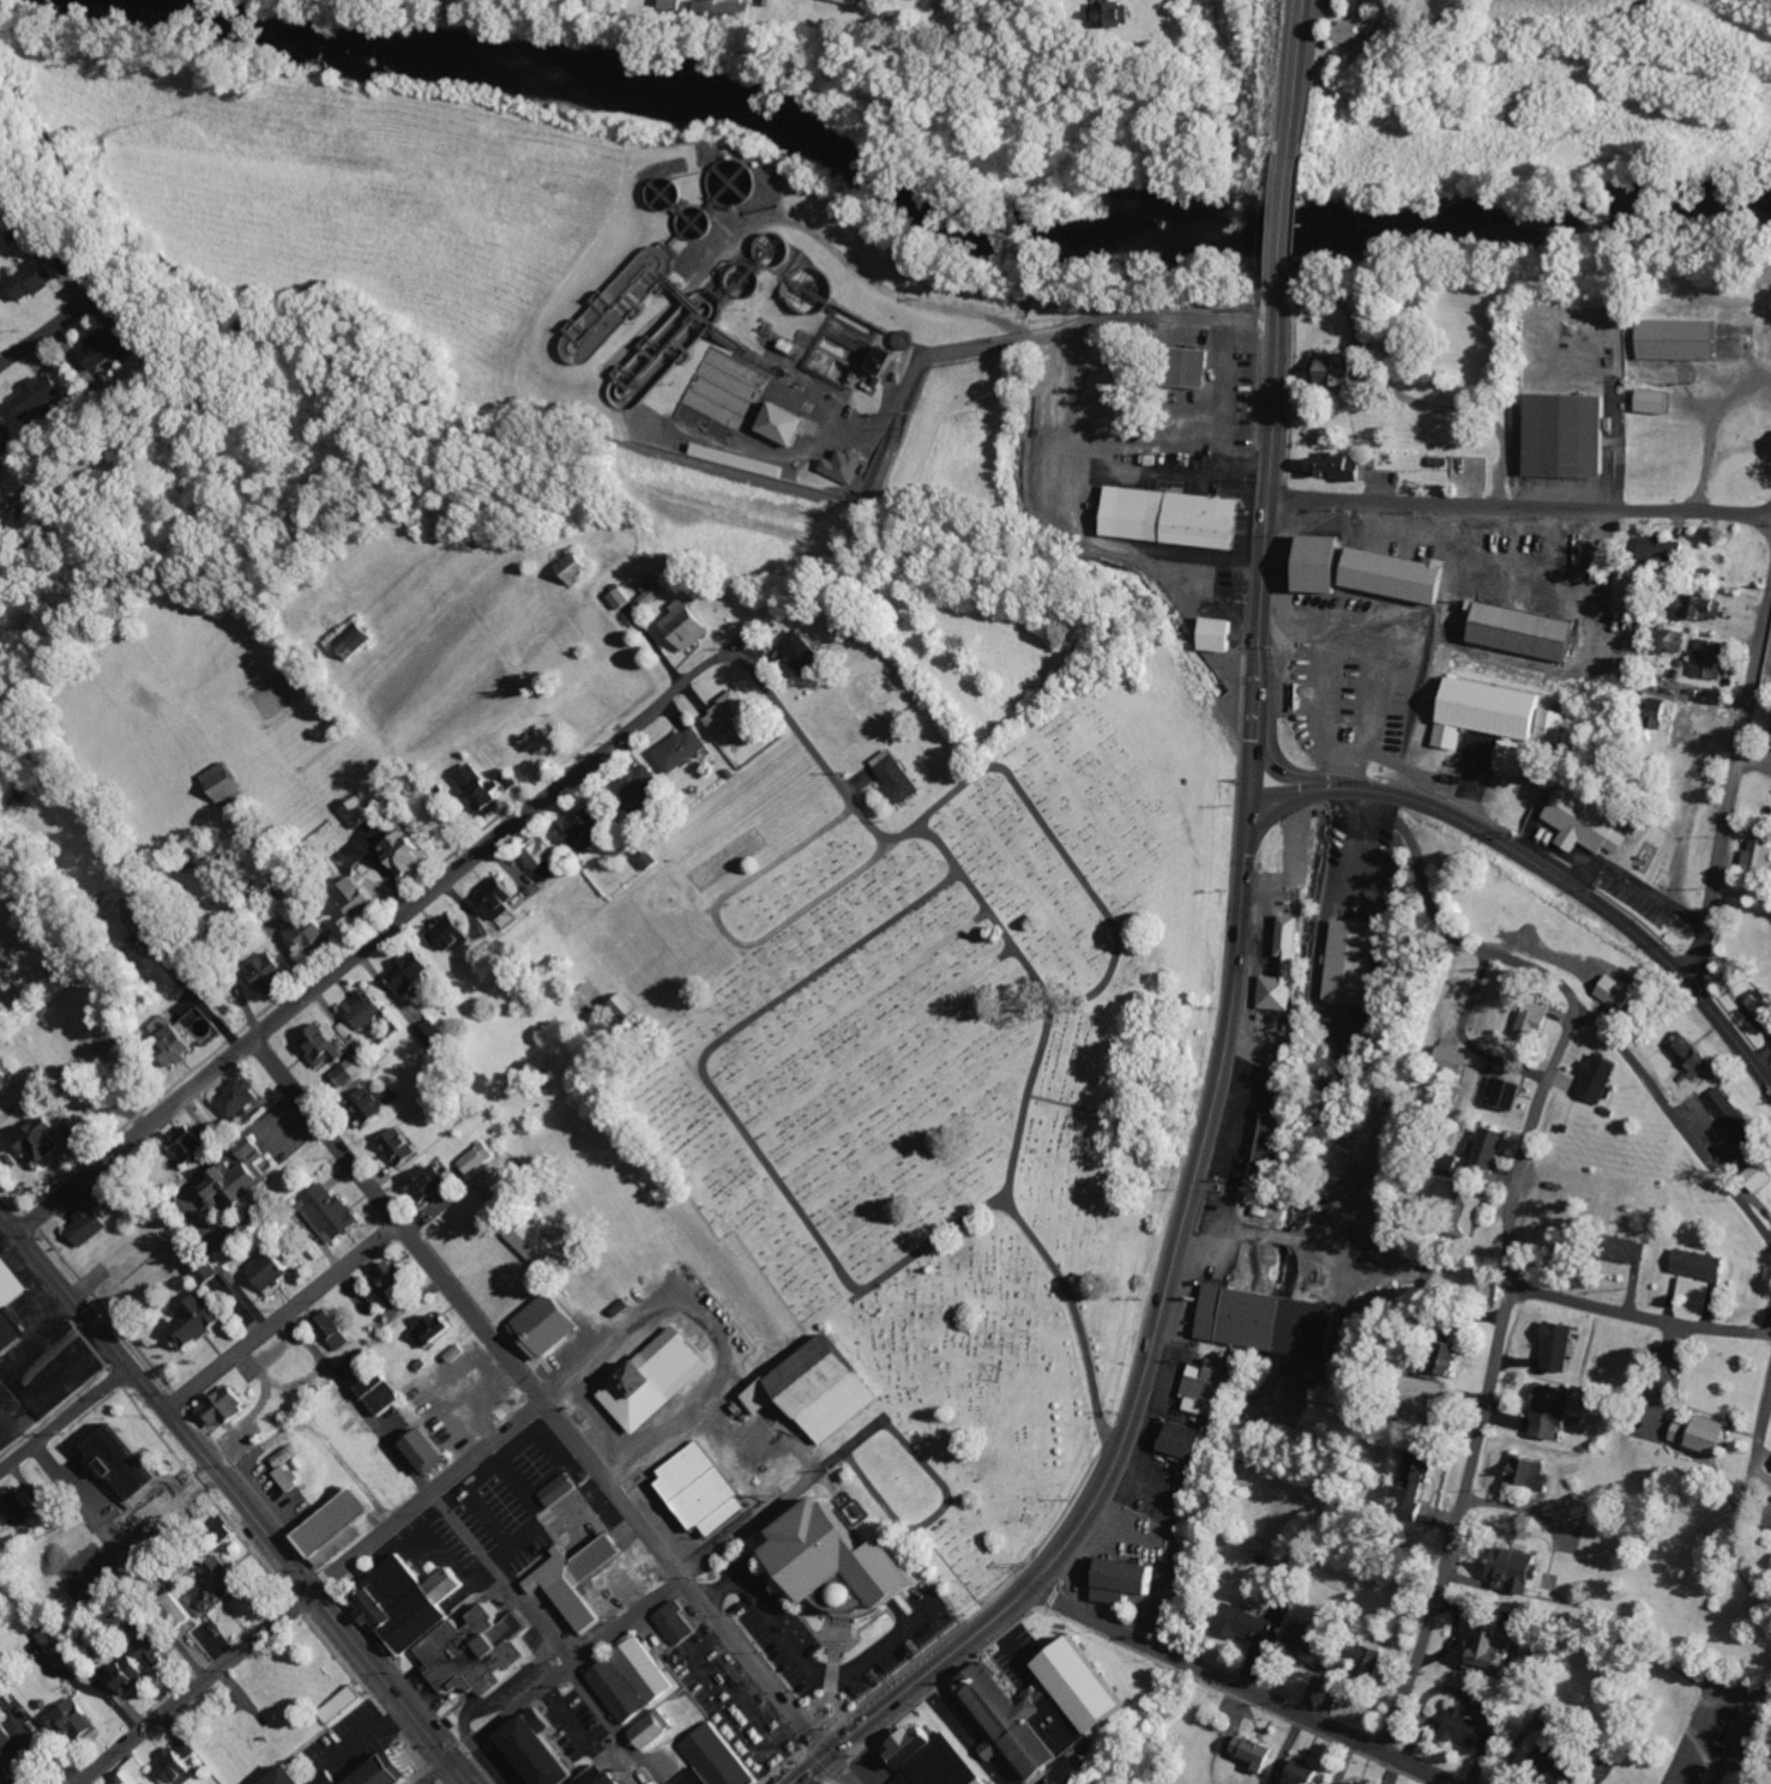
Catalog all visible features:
building: (1393, 0)
building: (590, 1)
building: (861, 2)
building: (731, 12)
building: (1119, 16)
building: (1359, 34)
road: (1294, 125)
building: (36, 278)
building: (0, 321)
road: (1113, 329)
road: (43, 336)
building: (908, 339)
building: (1681, 340)
building: (110, 348)
building: (890, 360)
building: (1199, 367)
building: (1338, 370)
building: (40, 396)
building: (1657, 402)
building: (1570, 435)
building: (733, 459)
building: (843, 465)
building: (1336, 468)
road: (1519, 511)
building: (1179, 517)
building: (1662, 548)
building: (577, 568)
building: (1373, 571)
building: (655, 591)
building: (1636, 592)
building: (622, 598)
building: (1707, 608)
building: (688, 625)
building: (1526, 631)
building: (1221, 635)
building: (356, 639)
building: (1670, 639)
building: (805, 651)
building: (1711, 658)
building: (729, 712)
building: (1506, 724)
building: (682, 749)
building: (898, 776)
building: (227, 783)
building: (641, 784)
road: (1731, 798)
building: (360, 813)
building: (1588, 824)
building: (584, 832)
road: (1064, 849)
building: (409, 852)
building: (1759, 855)
building: (647, 858)
building: (548, 860)
road: (1538, 868)
building: (360, 897)
building: (501, 897)
building: (317, 933)
building: (453, 934)
road: (724, 935)
road: (371, 939)
building: (1351, 962)
road: (1594, 964)
building: (1296, 966)
building: (414, 971)
building: (270, 972)
road: (1035, 989)
building: (1619, 994)
building: (626, 1008)
building: (366, 1009)
building: (1536, 1020)
building: (434, 1035)
building: (179, 1043)
building: (323, 1045)
building: (1688, 1051)
building: (1452, 1060)
building: (354, 1068)
building: (6, 1078)
building: (1603, 1078)
park: (962, 1080)
road: (1217, 1092)
building: (1506, 1093)
building: (241, 1098)
building: (374, 1105)
road: (734, 1115)
road: (1676, 1120)
building: (1735, 1120)
building: (191, 1144)
building: (1273, 1145)
building: (404, 1146)
building: (1490, 1149)
building: (481, 1159)
building: (1760, 1177)
building: (237, 1182)
building: (430, 1183)
building: (126, 1205)
building: (332, 1212)
building: (1468, 1216)
road: (1508, 1223)
building: (89, 1225)
building: (537, 1246)
building: (1636, 1250)
building: (1703, 1265)
building: (273, 1272)
building: (207, 1273)
building: (397, 1280)
building: (11, 1307)
road: (282, 1318)
road: (1637, 1318)
building: (200, 1322)
building: (1267, 1322)
building: (549, 1325)
building: (435, 1330)
road: (1770, 1330)
building: (337, 1332)
building: (1560, 1348)
building: (1450, 1360)
building: (363, 1362)
building: (658, 1380)
building: (1216, 1388)
building: (823, 1390)
building: (385, 1393)
road: (538, 1396)
building: (1438, 1398)
building: (228, 1406)
building: (1555, 1410)
road: (65, 1423)
building: (1706, 1436)
building: (1183, 1444)
building: (433, 1451)
building: (129, 1463)
building: (290, 1470)
building: (1531, 1473)
building: (1415, 1481)
building: (561, 1490)
building: (705, 1491)
road: (427, 1496)
road: (234, 1497)
building: (17, 1507)
building: (342, 1523)
building: (1, 1538)
road: (474, 1545)
building: (850, 1562)
building: (1520, 1571)
building: (1128, 1580)
building: (580, 1583)
building: (217, 1587)
road: (658, 1598)
building: (410, 1604)
building: (1516, 1622)
building: (679, 1625)
building: (1248, 1625)
building: (1309, 1637)
building: (62, 1647)
building: (158, 1650)
building: (1493, 1652)
building: (481, 1653)
building: (132, 1675)
building: (635, 1682)
road: (1234, 1684)
road: (195, 1689)
building: (344, 1706)
building: (1010, 1722)
building: (657, 1728)
building: (1472, 1730)
building: (996, 1747)
building: (1742, 1748)
building: (546, 1750)
building: (1254, 1750)
building: (10, 1758)
building: (928, 1758)
building: (1555, 1758)
building: (717, 1759)
building: (181, 1762)
road: (836, 1768)
building: (391, 1771)
building: (1300, 1771)
building: (134, 1772)
road: (436, 1773)
building: (297, 1776)
building: (602, 1776)
building: (336, 1780)
road: (78, 1783)
building: (663, 1783)
building: (1354, 1783)

